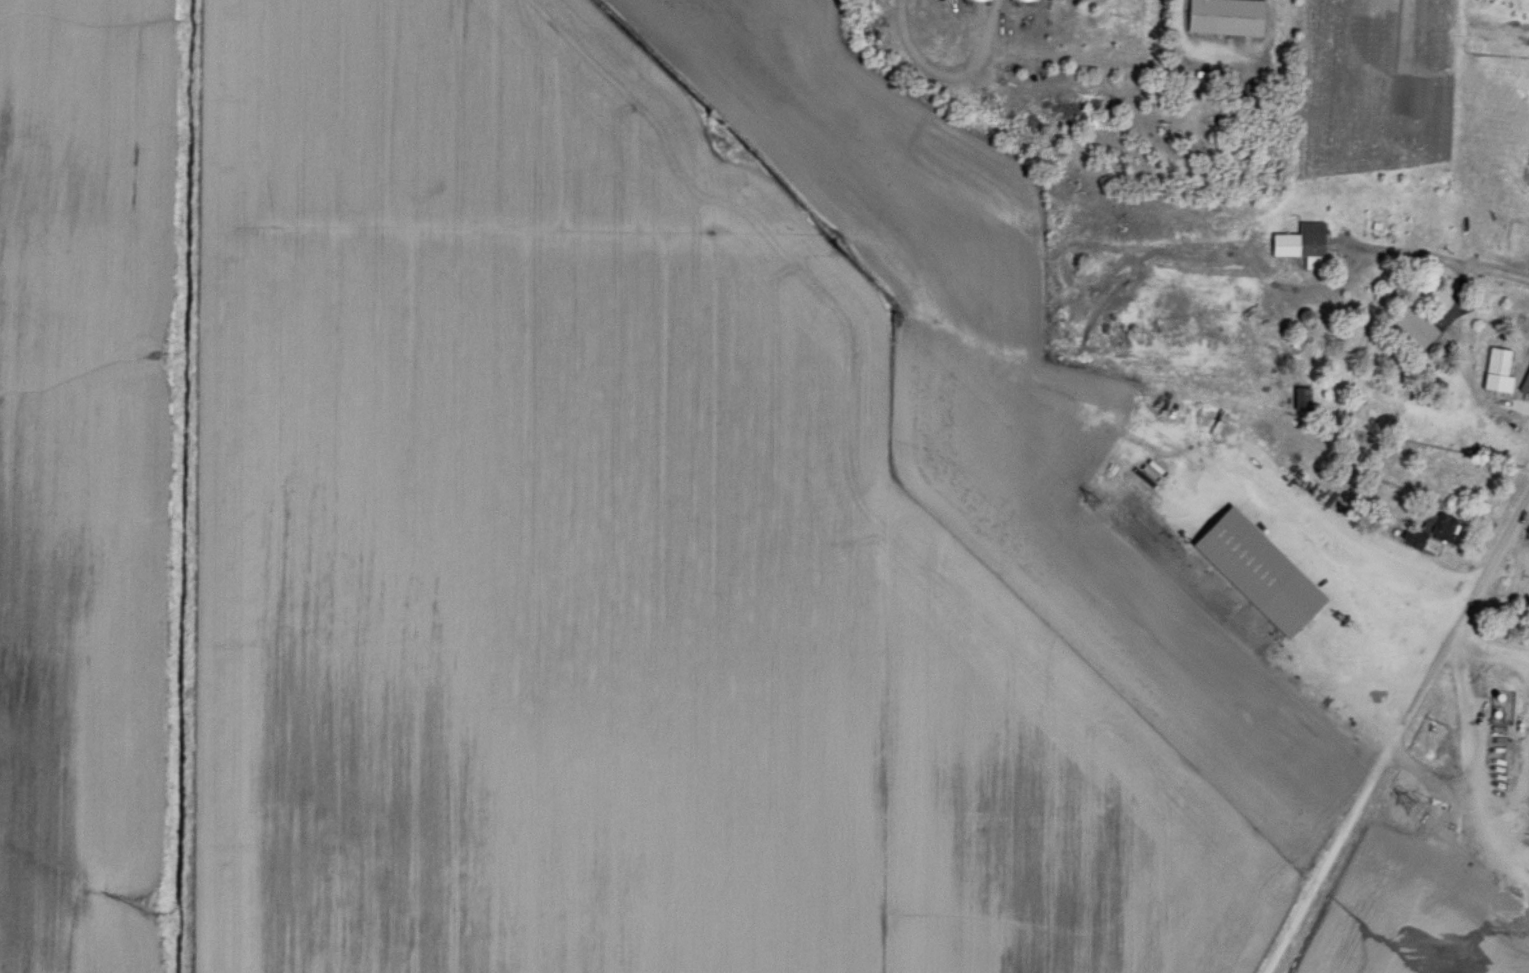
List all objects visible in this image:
building: (971, 0)
building: (1017, 0)
building: (1221, 16)
building: (1298, 244)
building: (1409, 324)
building: (1493, 371)
building: (1298, 398)
building: (1441, 526)
building: (1378, 614)
road: (1374, 692)
building: (1496, 732)

